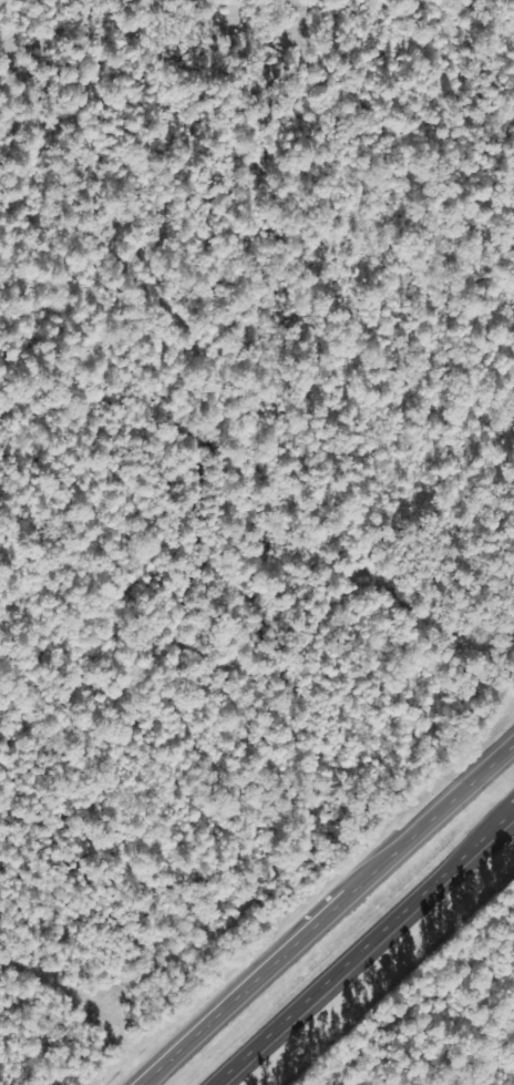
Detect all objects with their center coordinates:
road: (326, 912)
road: (357, 941)

